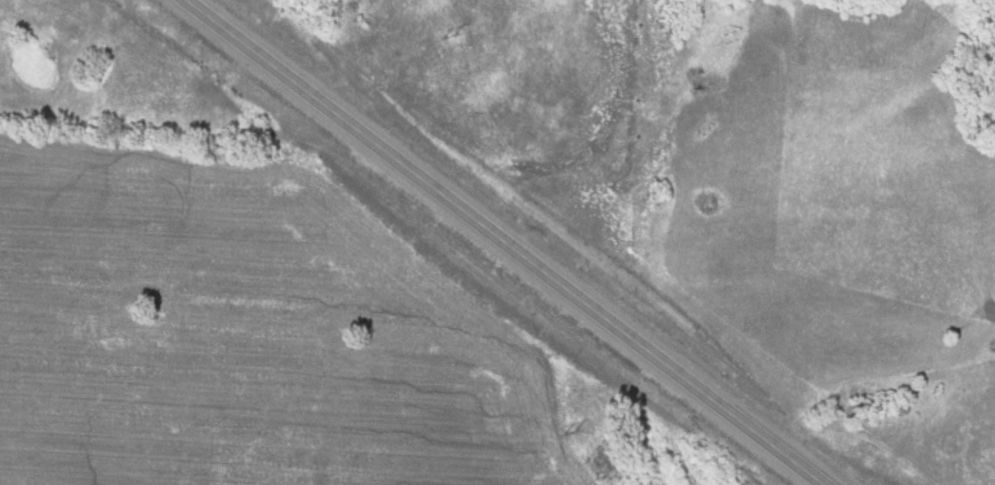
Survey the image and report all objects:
road: (502, 241)
crop: (255, 338)

